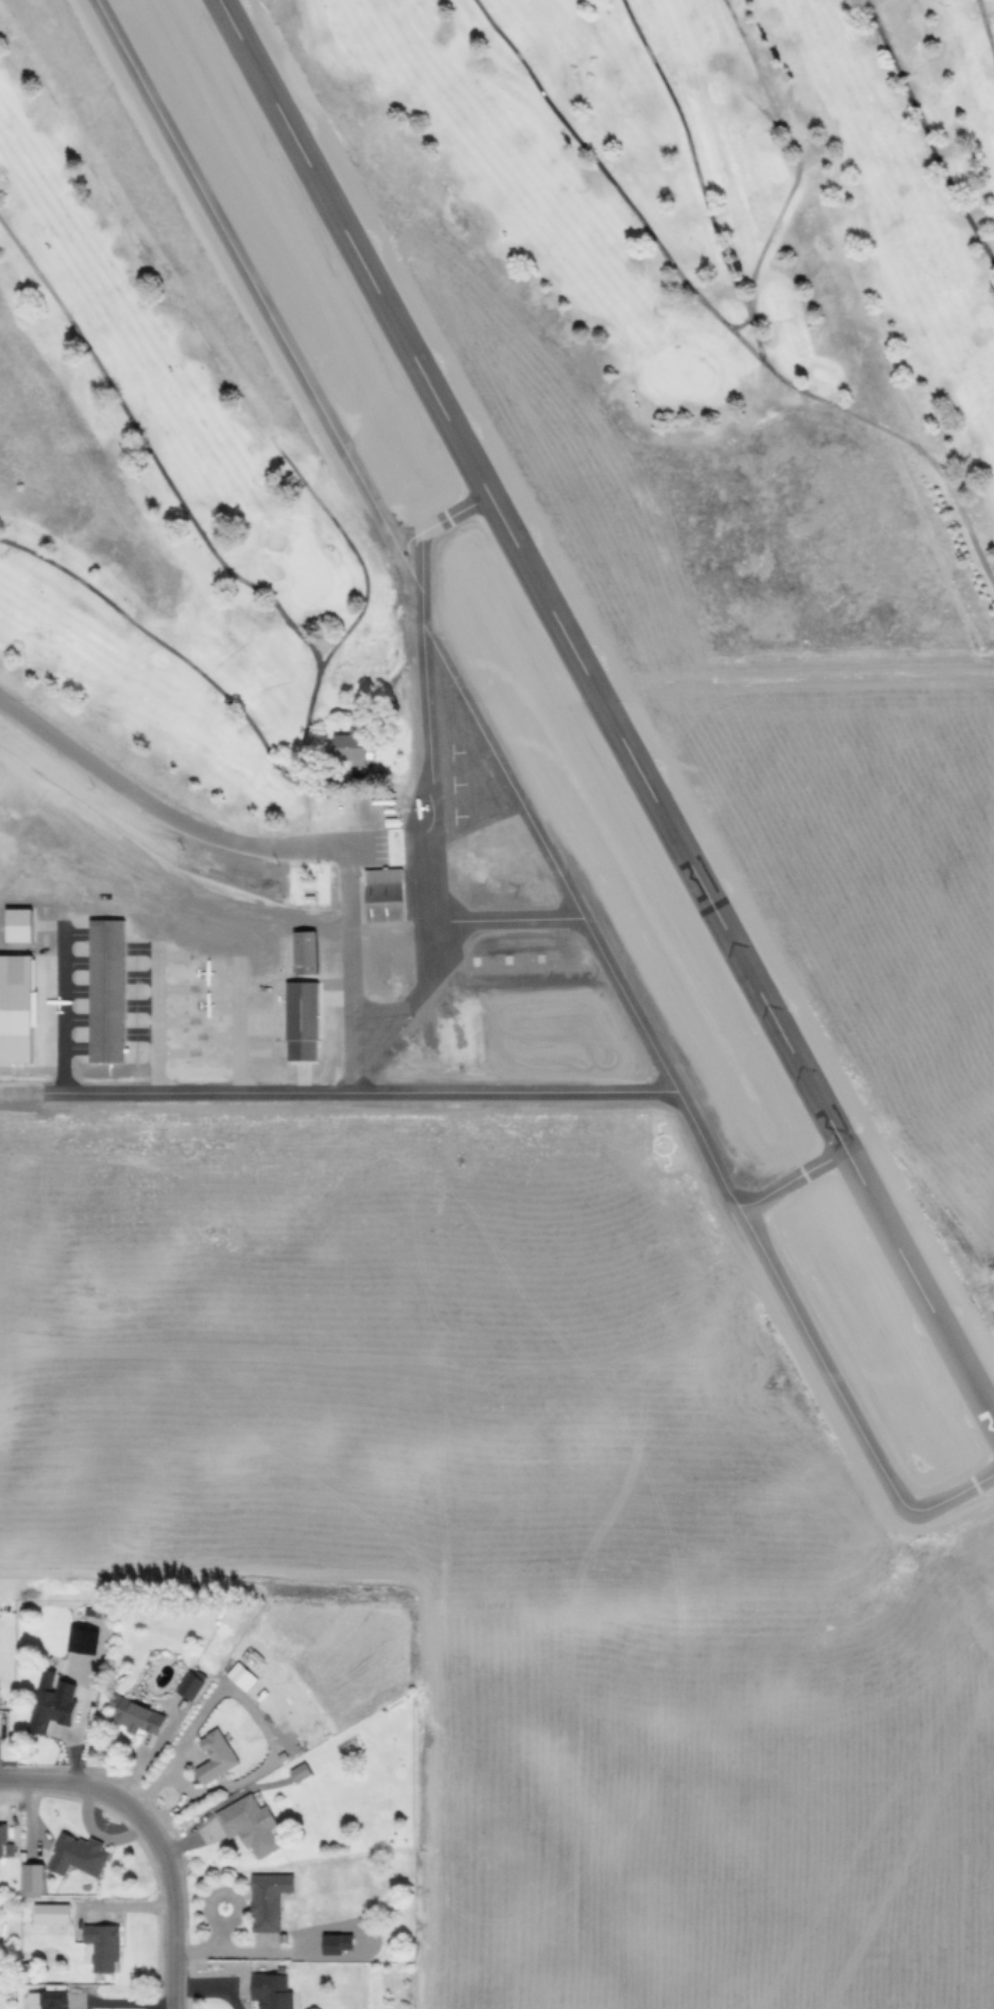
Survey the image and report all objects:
airport taxiway: (451, 525)
airport runway: (538, 576)
airport taxiway: (424, 601)
building: (352, 745)
building: (349, 775)
airport apron: (501, 869)
building: (393, 897)
road: (429, 900)
airport hangar: (28, 929)
building: (28, 929)
building: (315, 955)
airport hangar: (117, 994)
building: (117, 994)
airport hangar: (23, 1011)
building: (23, 1011)
building: (312, 1022)
road: (26, 1100)
airport: (544, 1162)
airport taxiway: (802, 1182)
road: (418, 1588)
building: (240, 1675)
building: (189, 1686)
road: (204, 1689)
building: (49, 1710)
building: (134, 1714)
building: (215, 1755)
road: (292, 1758)
building: (299, 1771)
building: (248, 1823)
road: (155, 1837)
building: (1, 1839)
building: (76, 1853)
building: (268, 1900)
building: (335, 1942)
building: (102, 1945)
road: (214, 1988)
building: (270, 1991)
building: (51, 1999)

